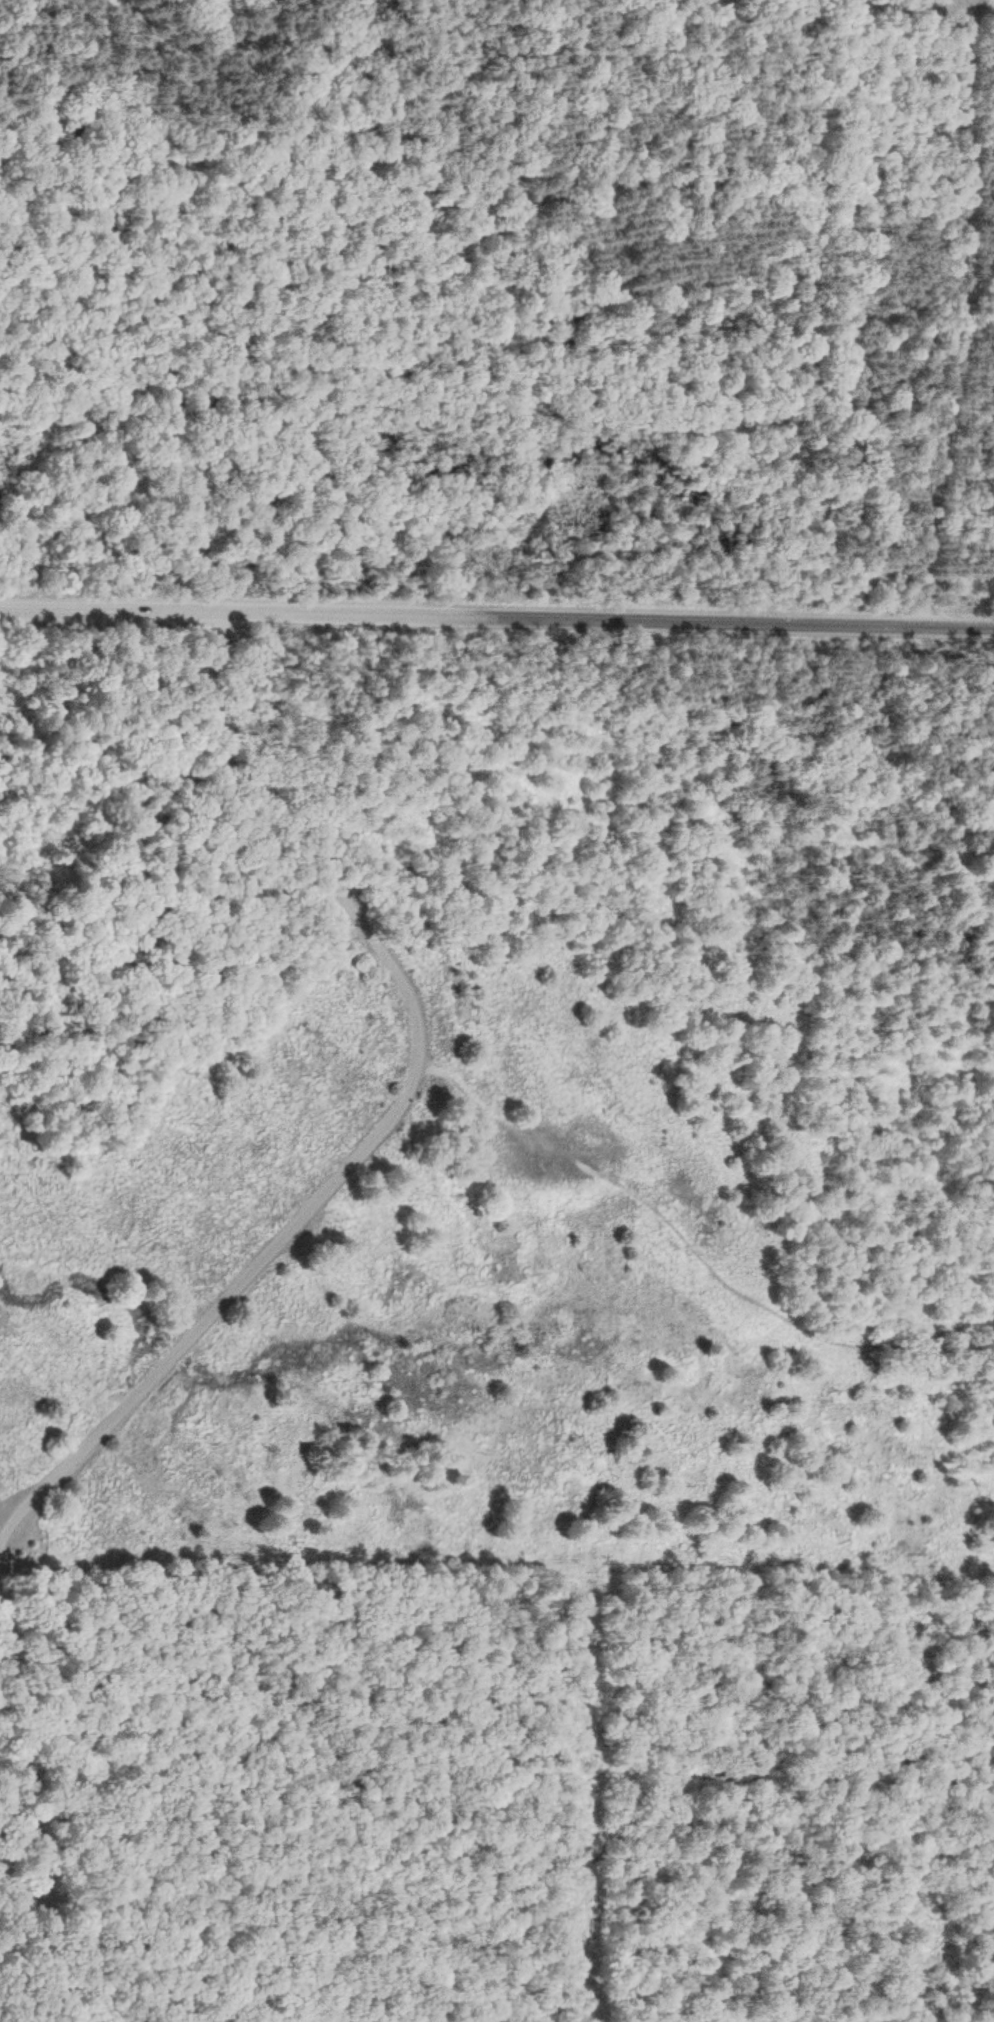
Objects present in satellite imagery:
road: (497, 619)
road: (222, 1300)

